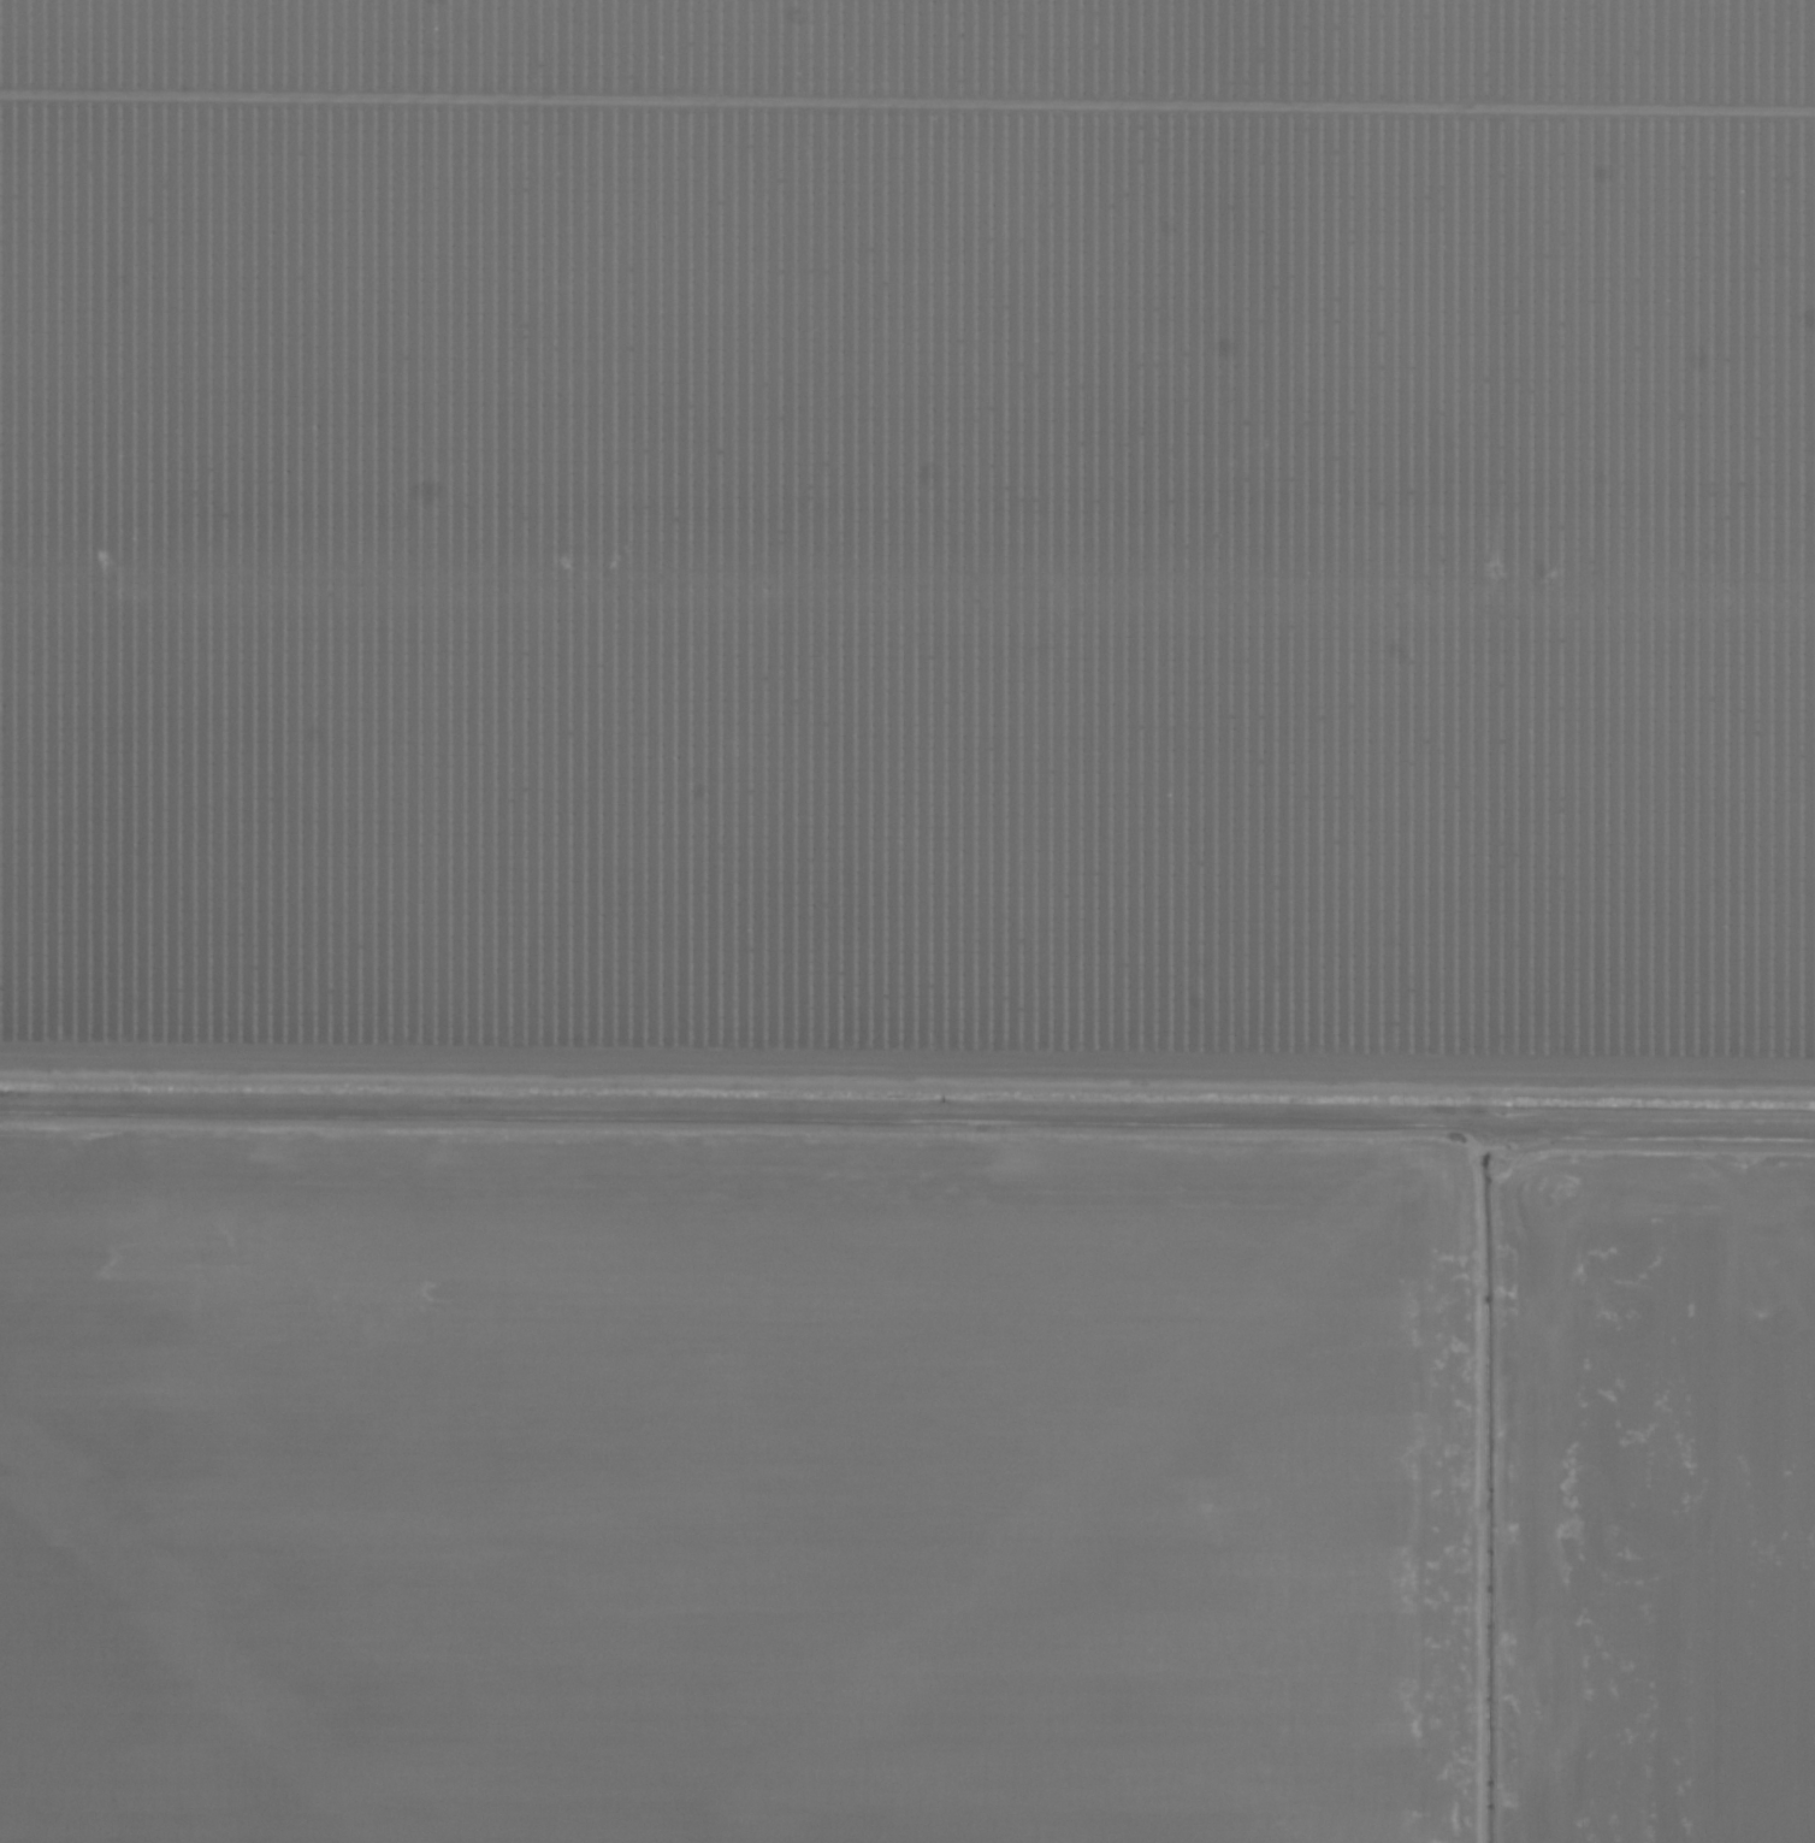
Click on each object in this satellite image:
crop: (908, 921)

